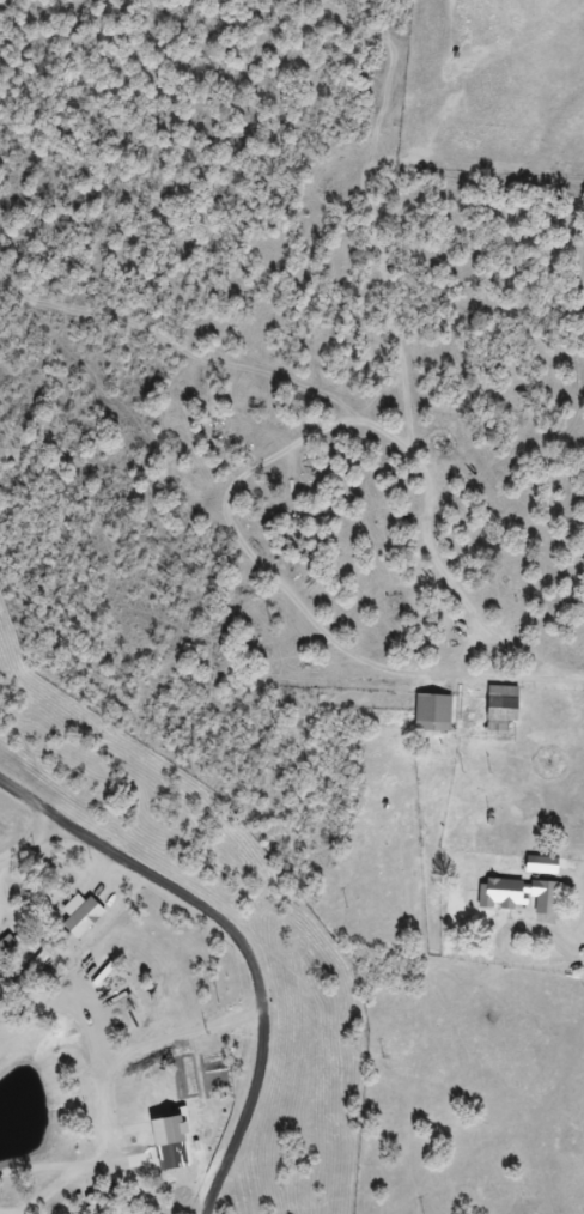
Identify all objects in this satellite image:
building: (505, 708)
building: (436, 712)
road: (19, 832)
building: (546, 867)
building: (521, 896)
building: (84, 916)
building: (7, 946)
road: (168, 960)
road: (323, 1015)
building: (166, 1109)
road: (531, 1122)
road: (525, 1173)
road: (419, 1180)

